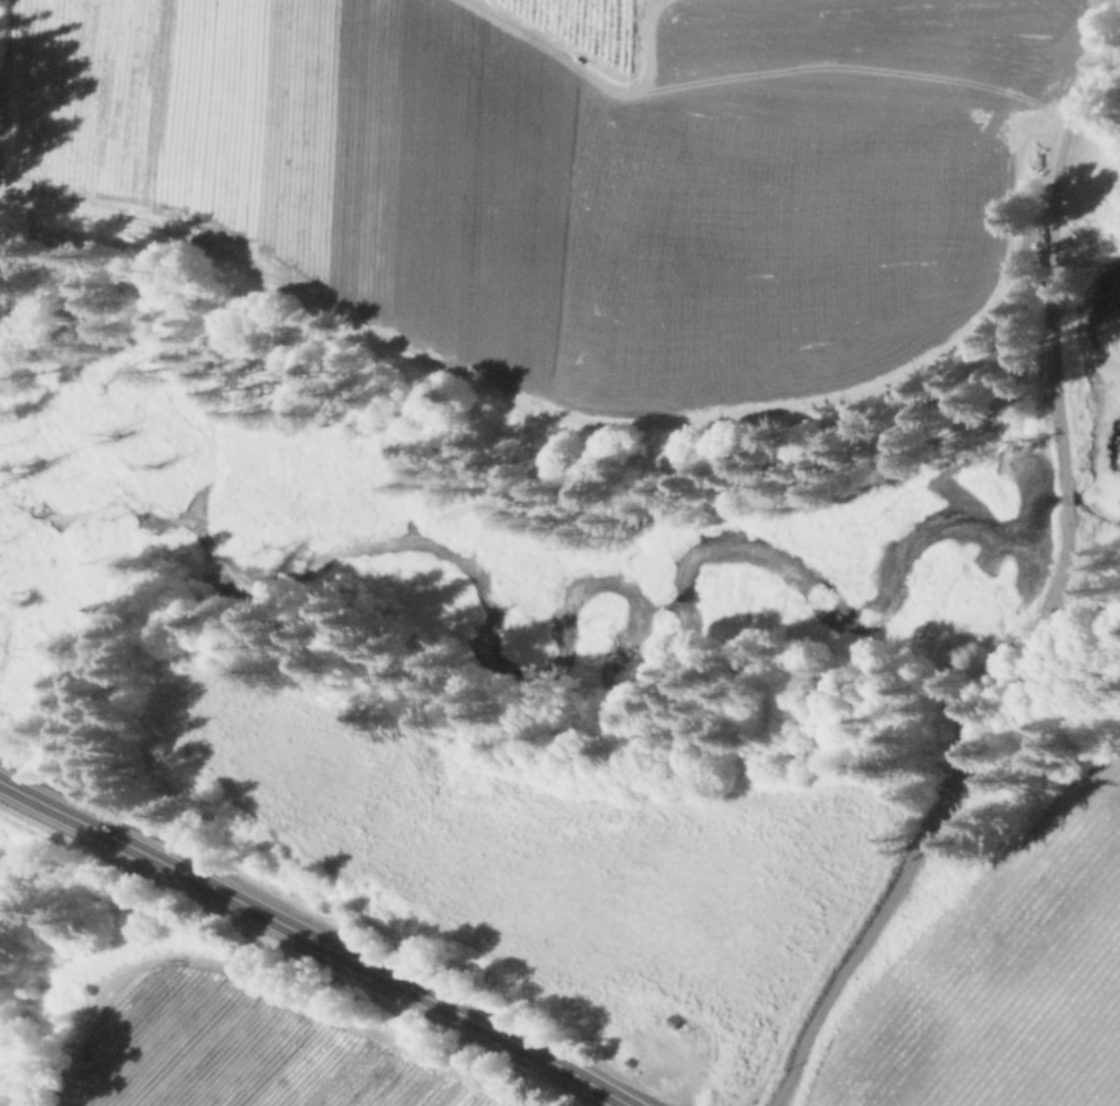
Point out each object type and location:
crop: (590, 169)
road: (1059, 585)
crop: (693, 896)
road: (313, 941)
crop: (234, 1032)

